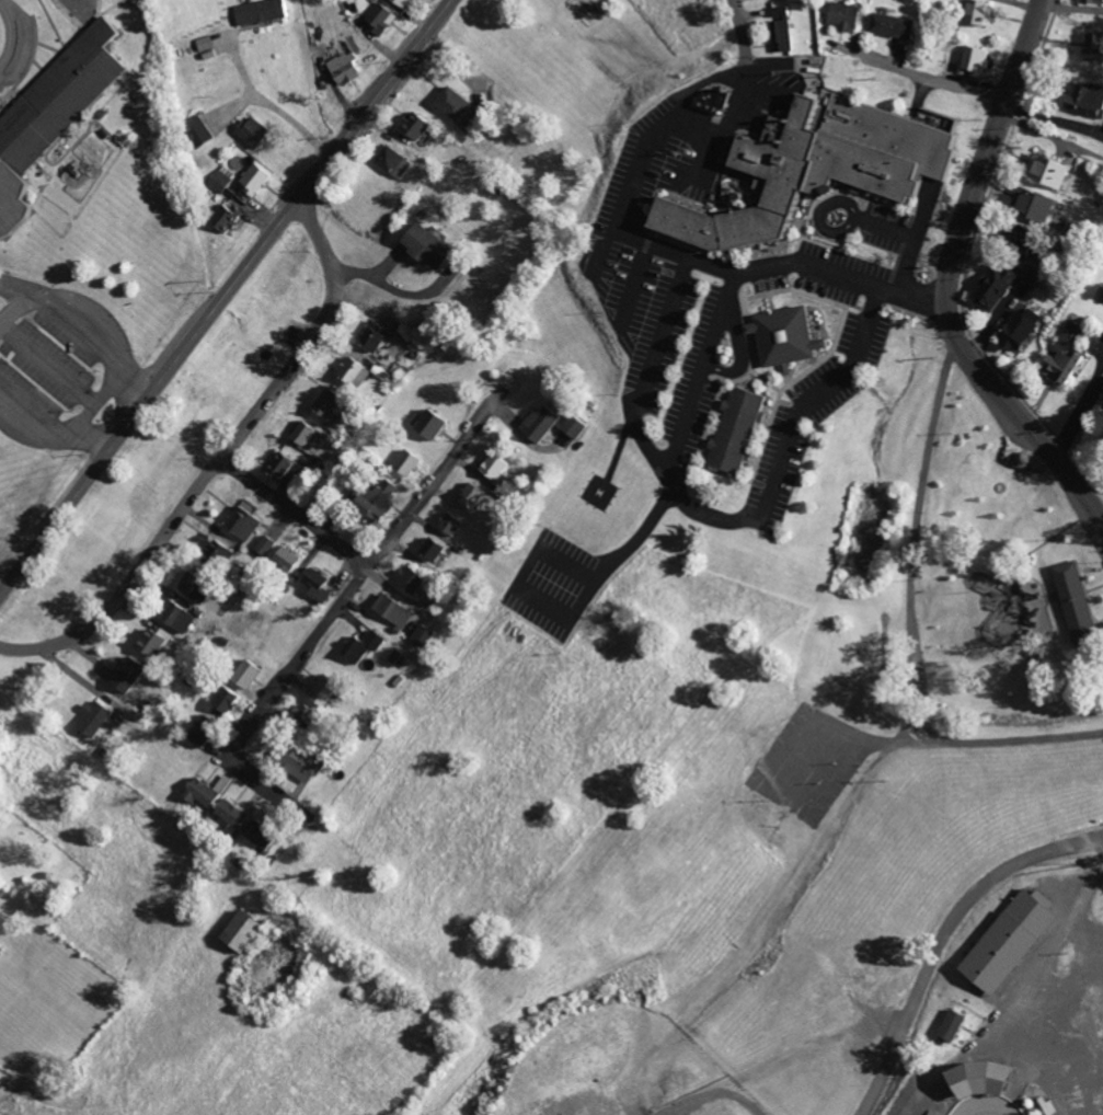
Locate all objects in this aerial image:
building: (1089, 0)
building: (407, 3)
road: (1073, 5)
building: (266, 12)
building: (976, 12)
building: (842, 15)
building: (387, 18)
road: (740, 25)
building: (893, 25)
building: (781, 28)
building: (1090, 42)
building: (975, 61)
building: (351, 69)
road: (947, 80)
building: (1087, 99)
building: (708, 100)
road: (268, 103)
building: (457, 103)
road: (673, 103)
road: (731, 118)
building: (55, 120)
building: (420, 124)
building: (206, 129)
building: (260, 131)
building: (395, 161)
building: (812, 168)
building: (1045, 171)
building: (261, 179)
building: (225, 181)
building: (1029, 206)
building: (231, 217)
road: (858, 221)
building: (433, 246)
road: (673, 248)
road: (954, 273)
building: (998, 281)
road: (877, 284)
road: (223, 296)
road: (91, 315)
building: (1015, 329)
building: (378, 336)
building: (782, 337)
building: (1060, 354)
road: (48, 360)
building: (357, 371)
road: (1096, 373)
road: (95, 402)
building: (333, 402)
road: (1077, 415)
road: (630, 421)
building: (545, 422)
building: (436, 423)
building: (577, 426)
building: (733, 432)
building: (307, 433)
road: (55, 435)
road: (781, 445)
road: (222, 459)
building: (411, 463)
building: (287, 464)
building: (497, 468)
building: (475, 495)
building: (380, 498)
road: (297, 510)
building: (246, 522)
building: (453, 524)
building: (267, 545)
building: (436, 549)
building: (219, 555)
building: (290, 560)
road: (366, 570)
building: (415, 579)
building: (320, 585)
building: (199, 588)
building: (1072, 598)
park: (935, 602)
building: (398, 610)
building: (181, 617)
building: (427, 635)
building: (156, 642)
building: (366, 646)
building: (131, 674)
building: (252, 674)
building: (328, 689)
building: (231, 700)
building: (308, 715)
building: (99, 719)
building: (209, 731)
building: (305, 765)
building: (205, 793)
building: (234, 815)
building: (264, 835)
building: (251, 932)
road: (945, 938)
building: (1007, 940)
building: (951, 1025)
building: (974, 1079)
building: (2, 1081)

